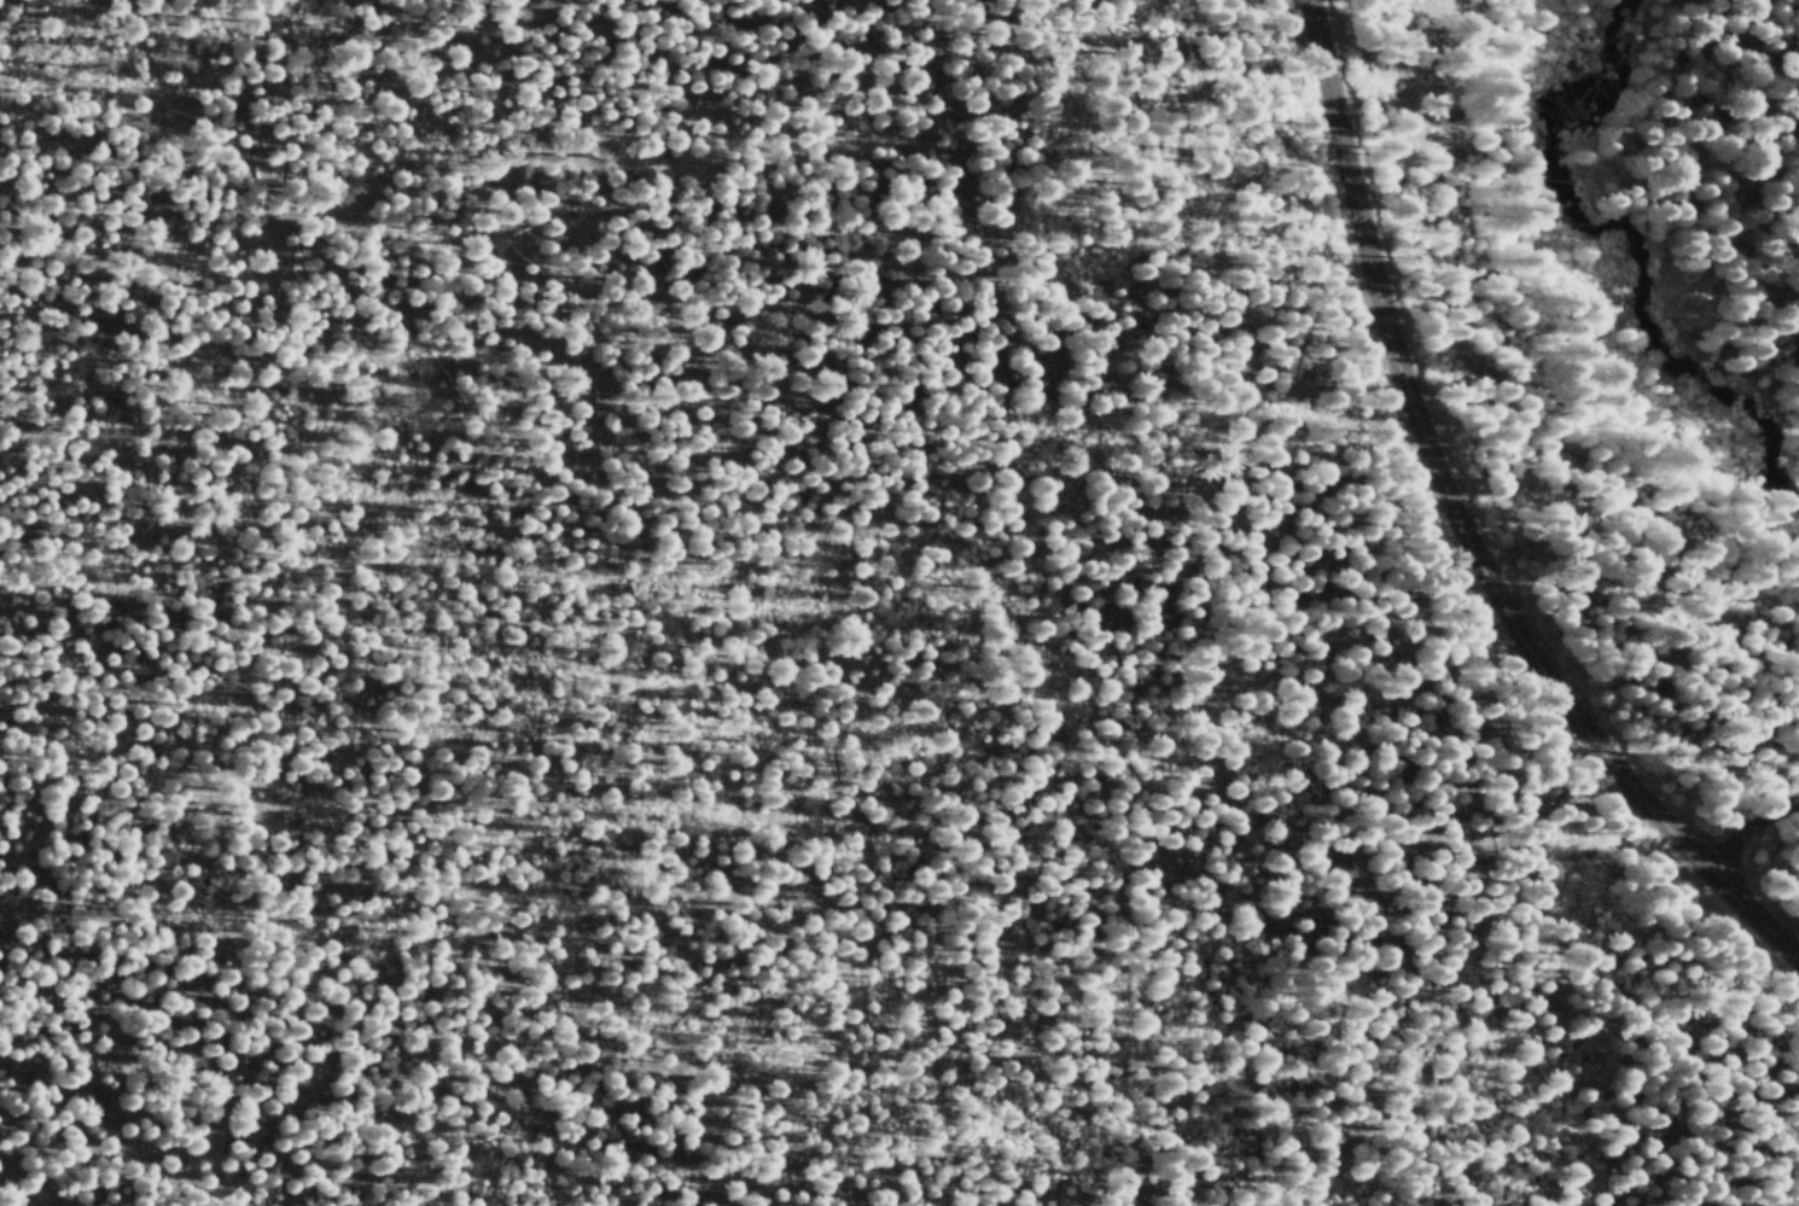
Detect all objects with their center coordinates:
road: (1455, 530)
road: (1748, 833)

